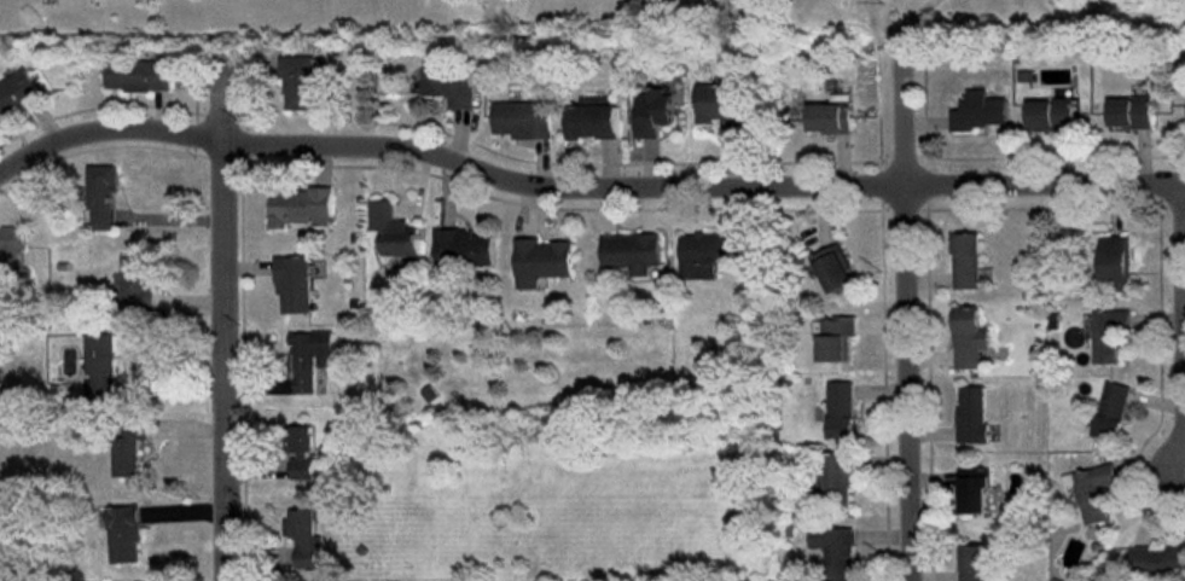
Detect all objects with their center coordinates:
road: (902, 21)
building: (139, 75)
building: (298, 81)
building: (451, 86)
building: (17, 92)
building: (721, 106)
building: (652, 111)
building: (978, 111)
building: (1131, 112)
building: (1051, 115)
building: (830, 118)
building: (523, 120)
building: (593, 120)
road: (585, 187)
building: (101, 196)
building: (298, 204)
building: (394, 231)
road: (1183, 239)
building: (463, 248)
building: (12, 251)
building: (632, 252)
building: (709, 254)
building: (966, 261)
building: (1116, 261)
building: (541, 262)
building: (835, 268)
building: (134, 281)
building: (294, 284)
road: (904, 314)
road: (225, 319)
building: (1108, 333)
building: (969, 337)
building: (836, 338)
building: (309, 358)
building: (99, 367)
building: (841, 409)
building: (1111, 409)
building: (972, 414)
building: (127, 448)
building: (304, 454)
building: (840, 476)
building: (975, 490)
building: (1091, 490)
building: (122, 534)
building: (302, 536)
building: (836, 551)
building: (1157, 559)
building: (976, 563)

